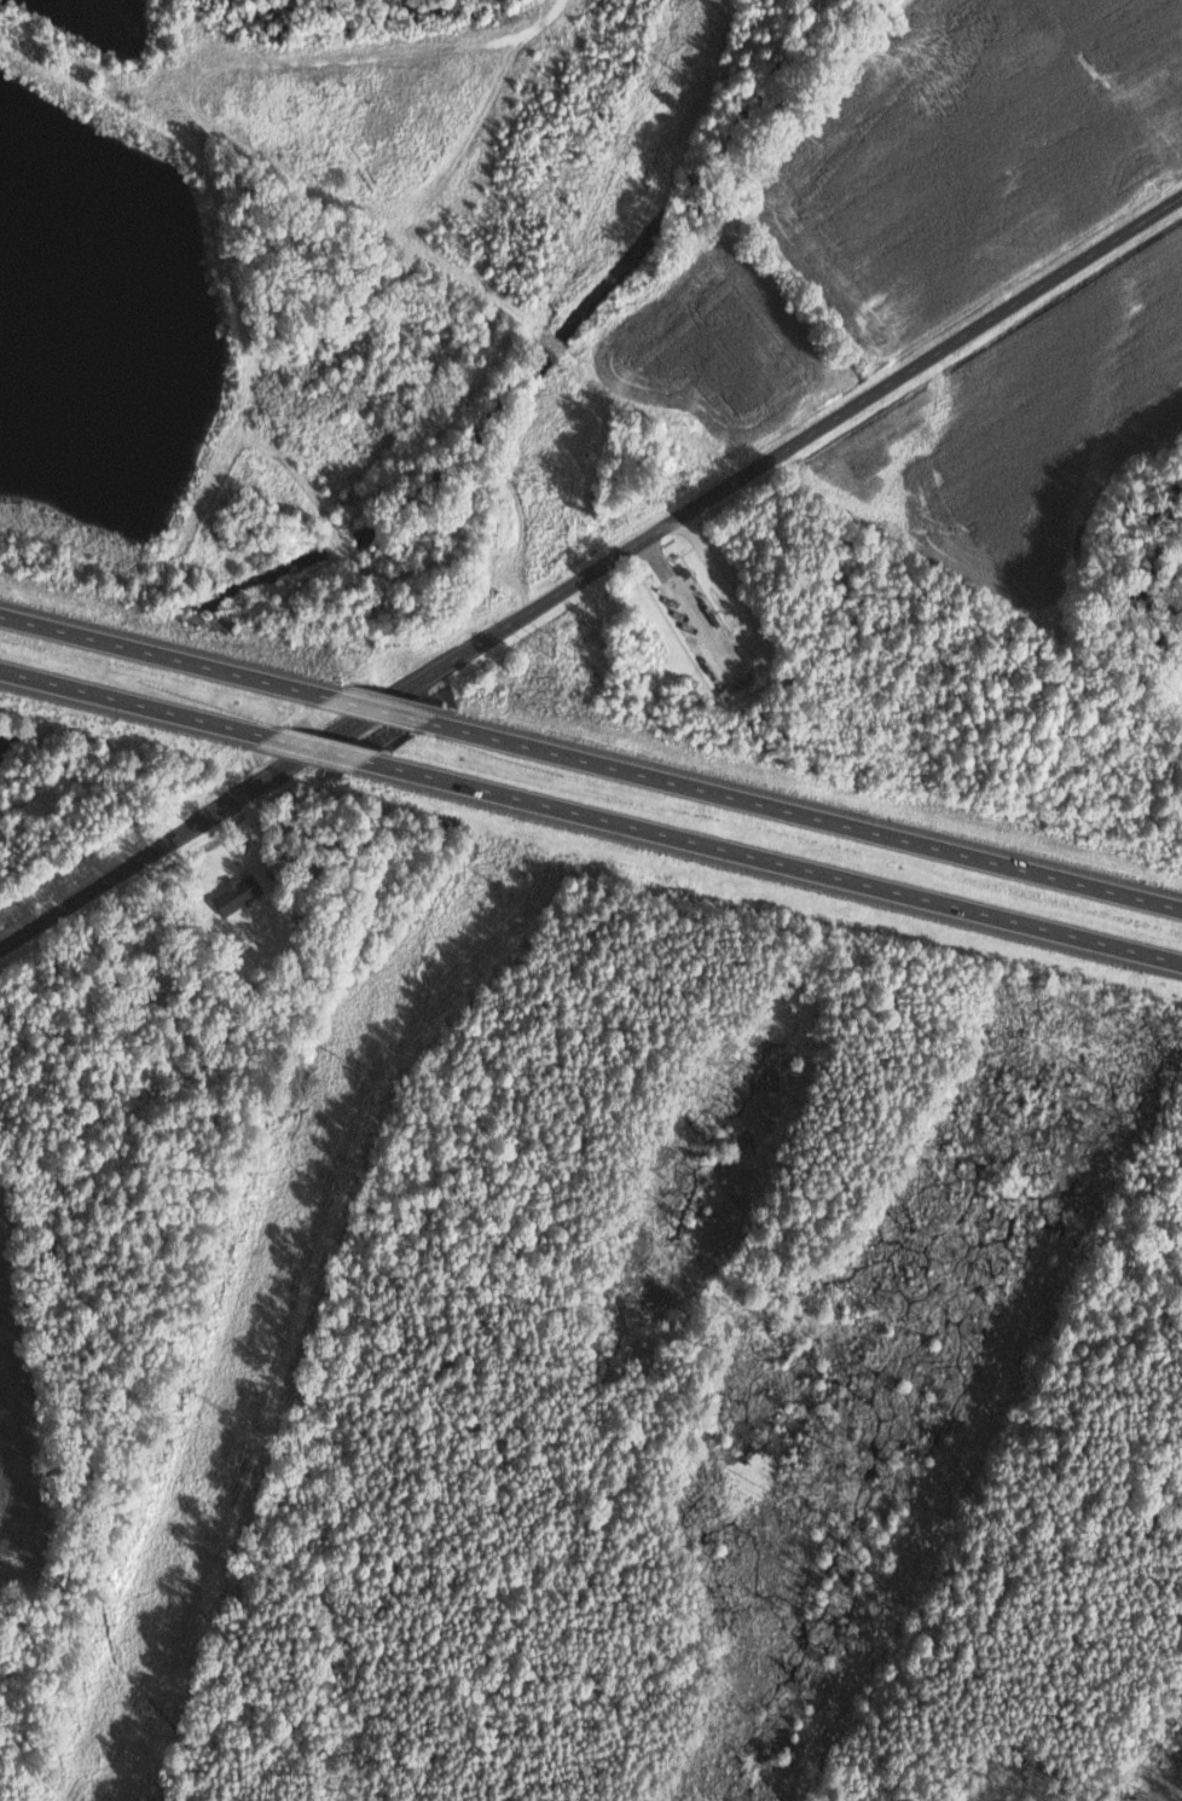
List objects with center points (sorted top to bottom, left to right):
power tower: (676, 70)
road: (761, 461)
power tower: (539, 491)
road: (164, 655)
road: (134, 702)
road: (377, 708)
road: (315, 747)
road: (804, 813)
road: (170, 838)
road: (772, 859)
power tower: (509, 891)
building: (243, 893)
power tower: (343, 1062)
power tower: (224, 1417)

